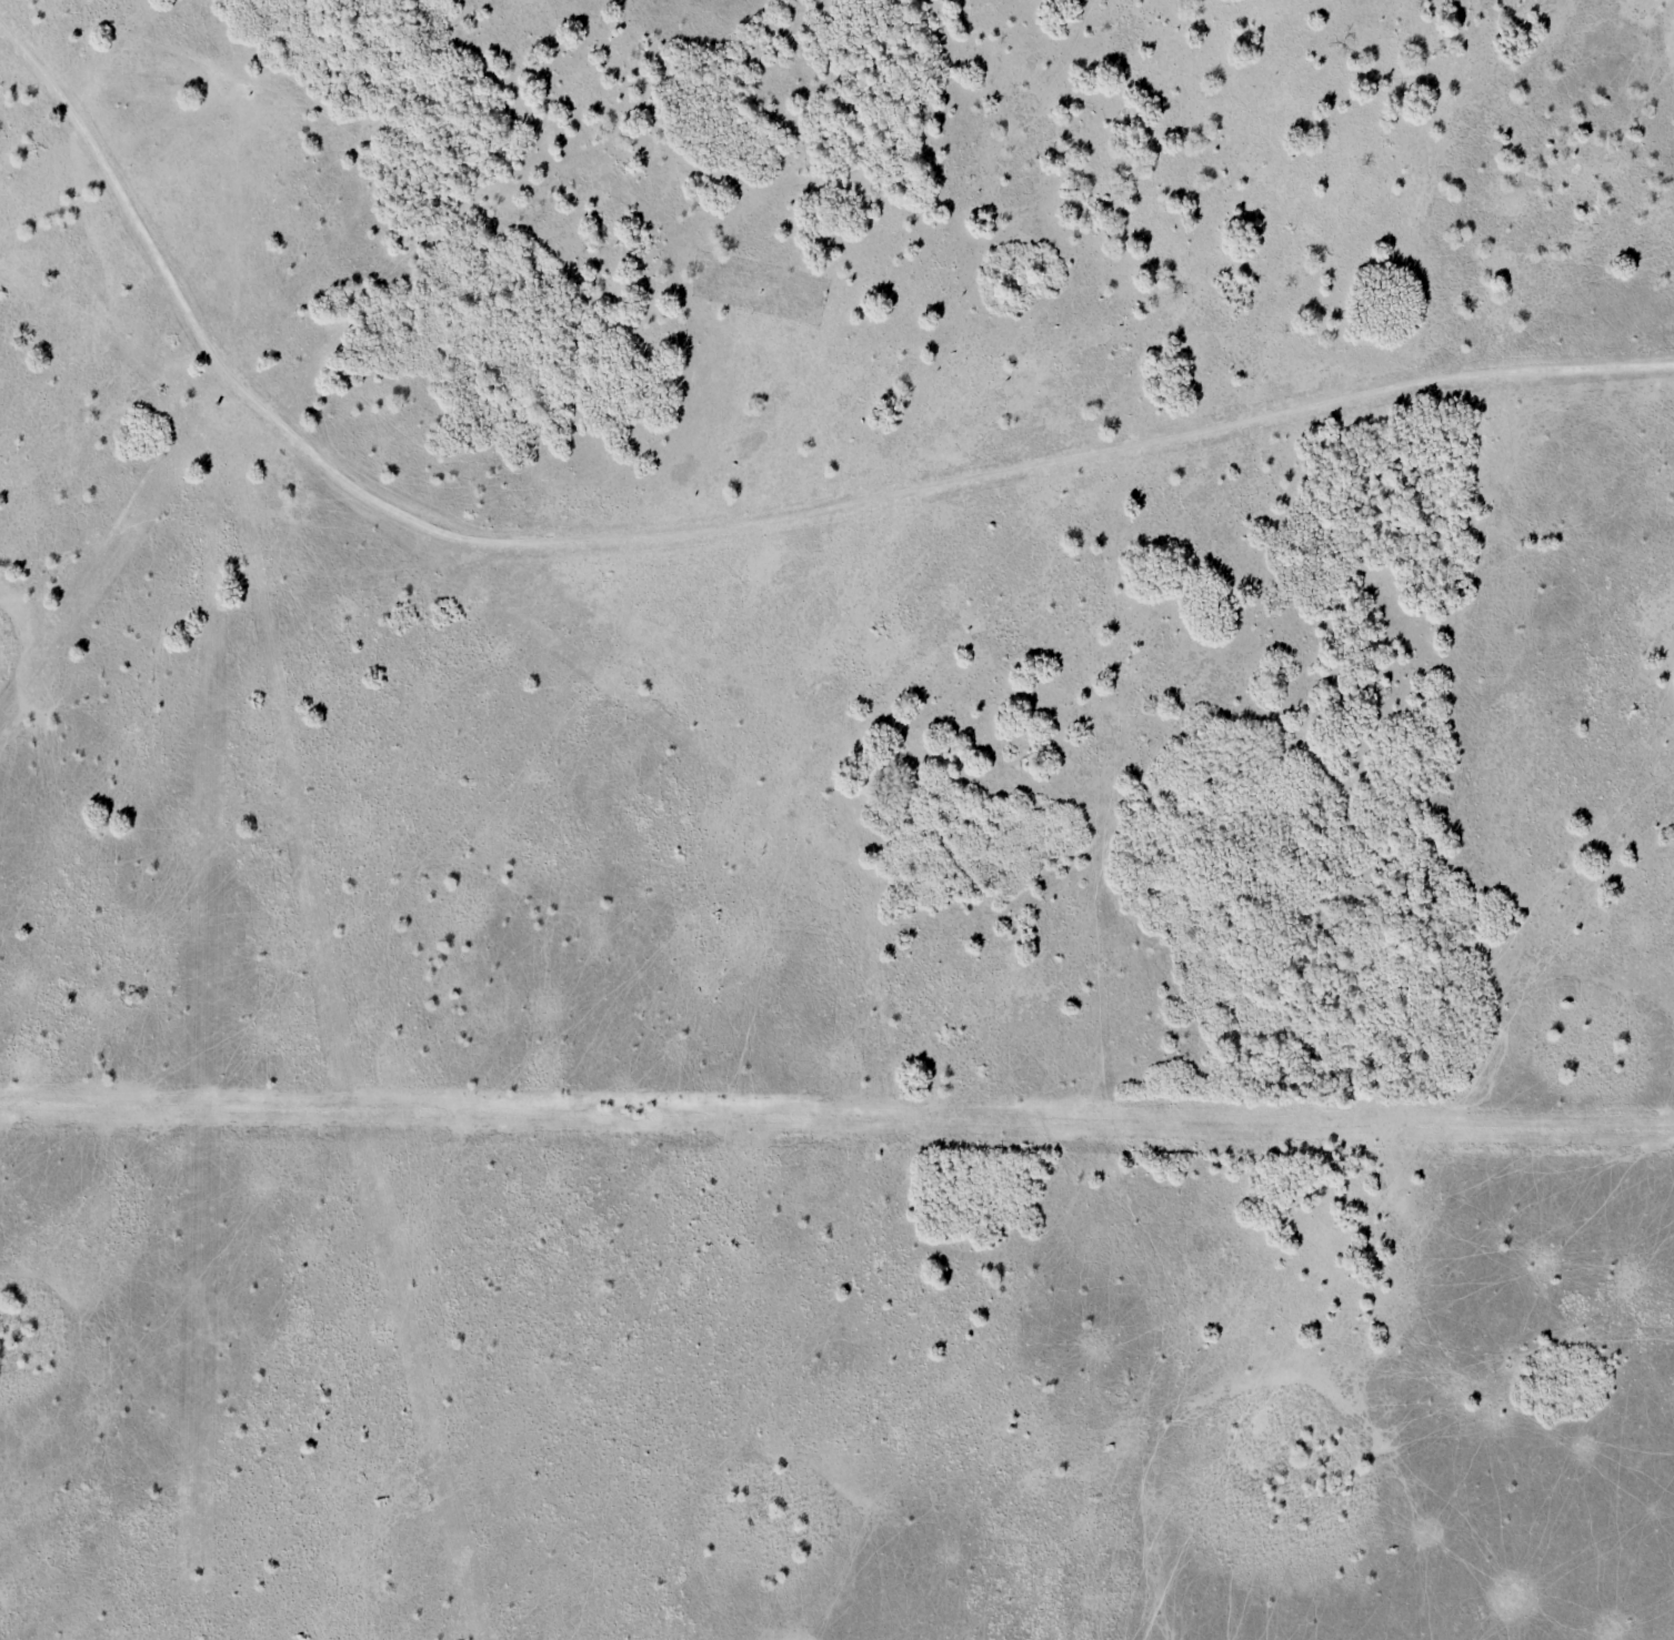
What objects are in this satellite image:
road: (1667, 91)

